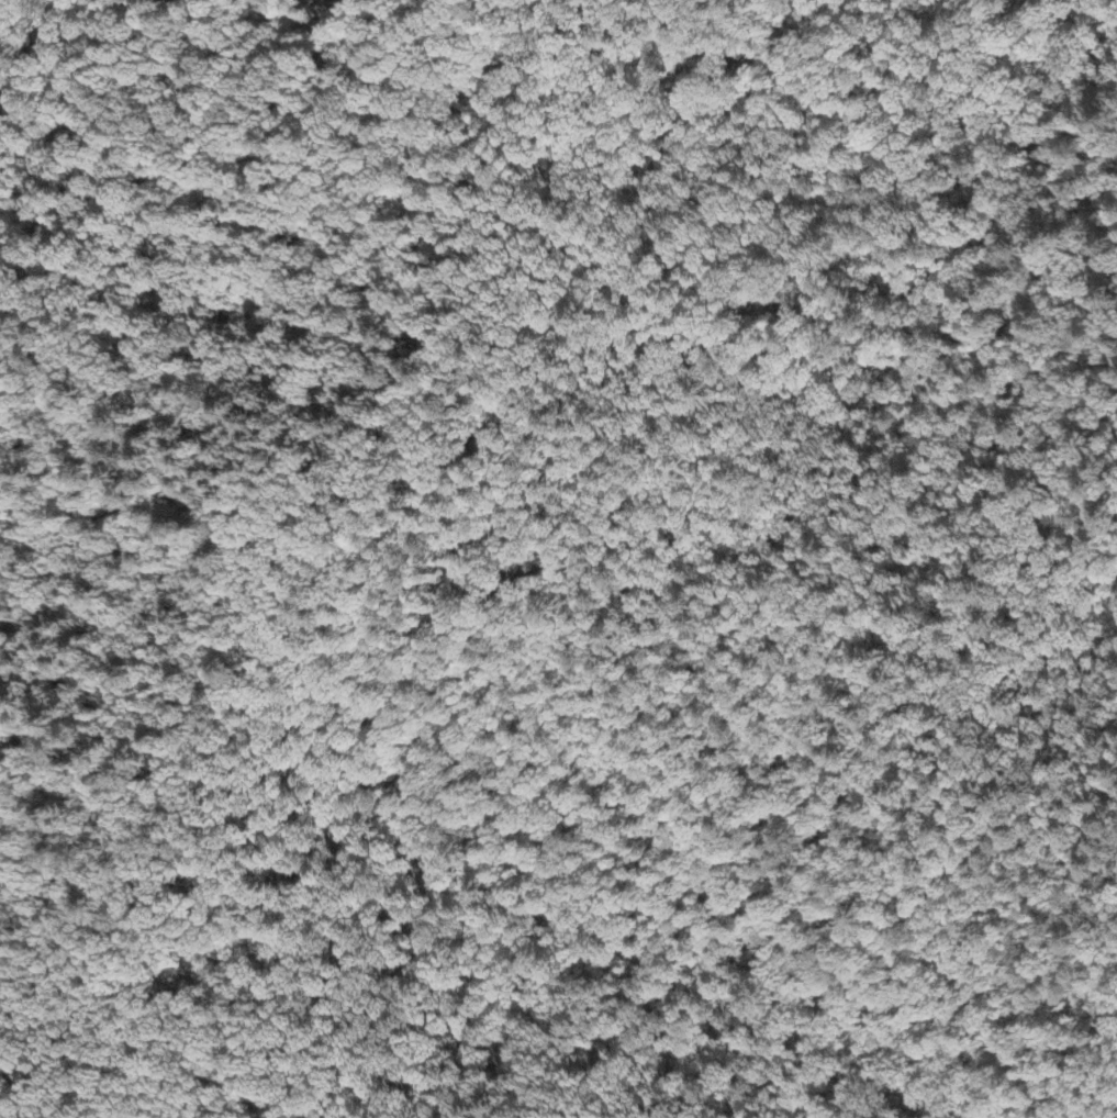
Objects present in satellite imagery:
road: (850, 359)
road: (300, 873)

